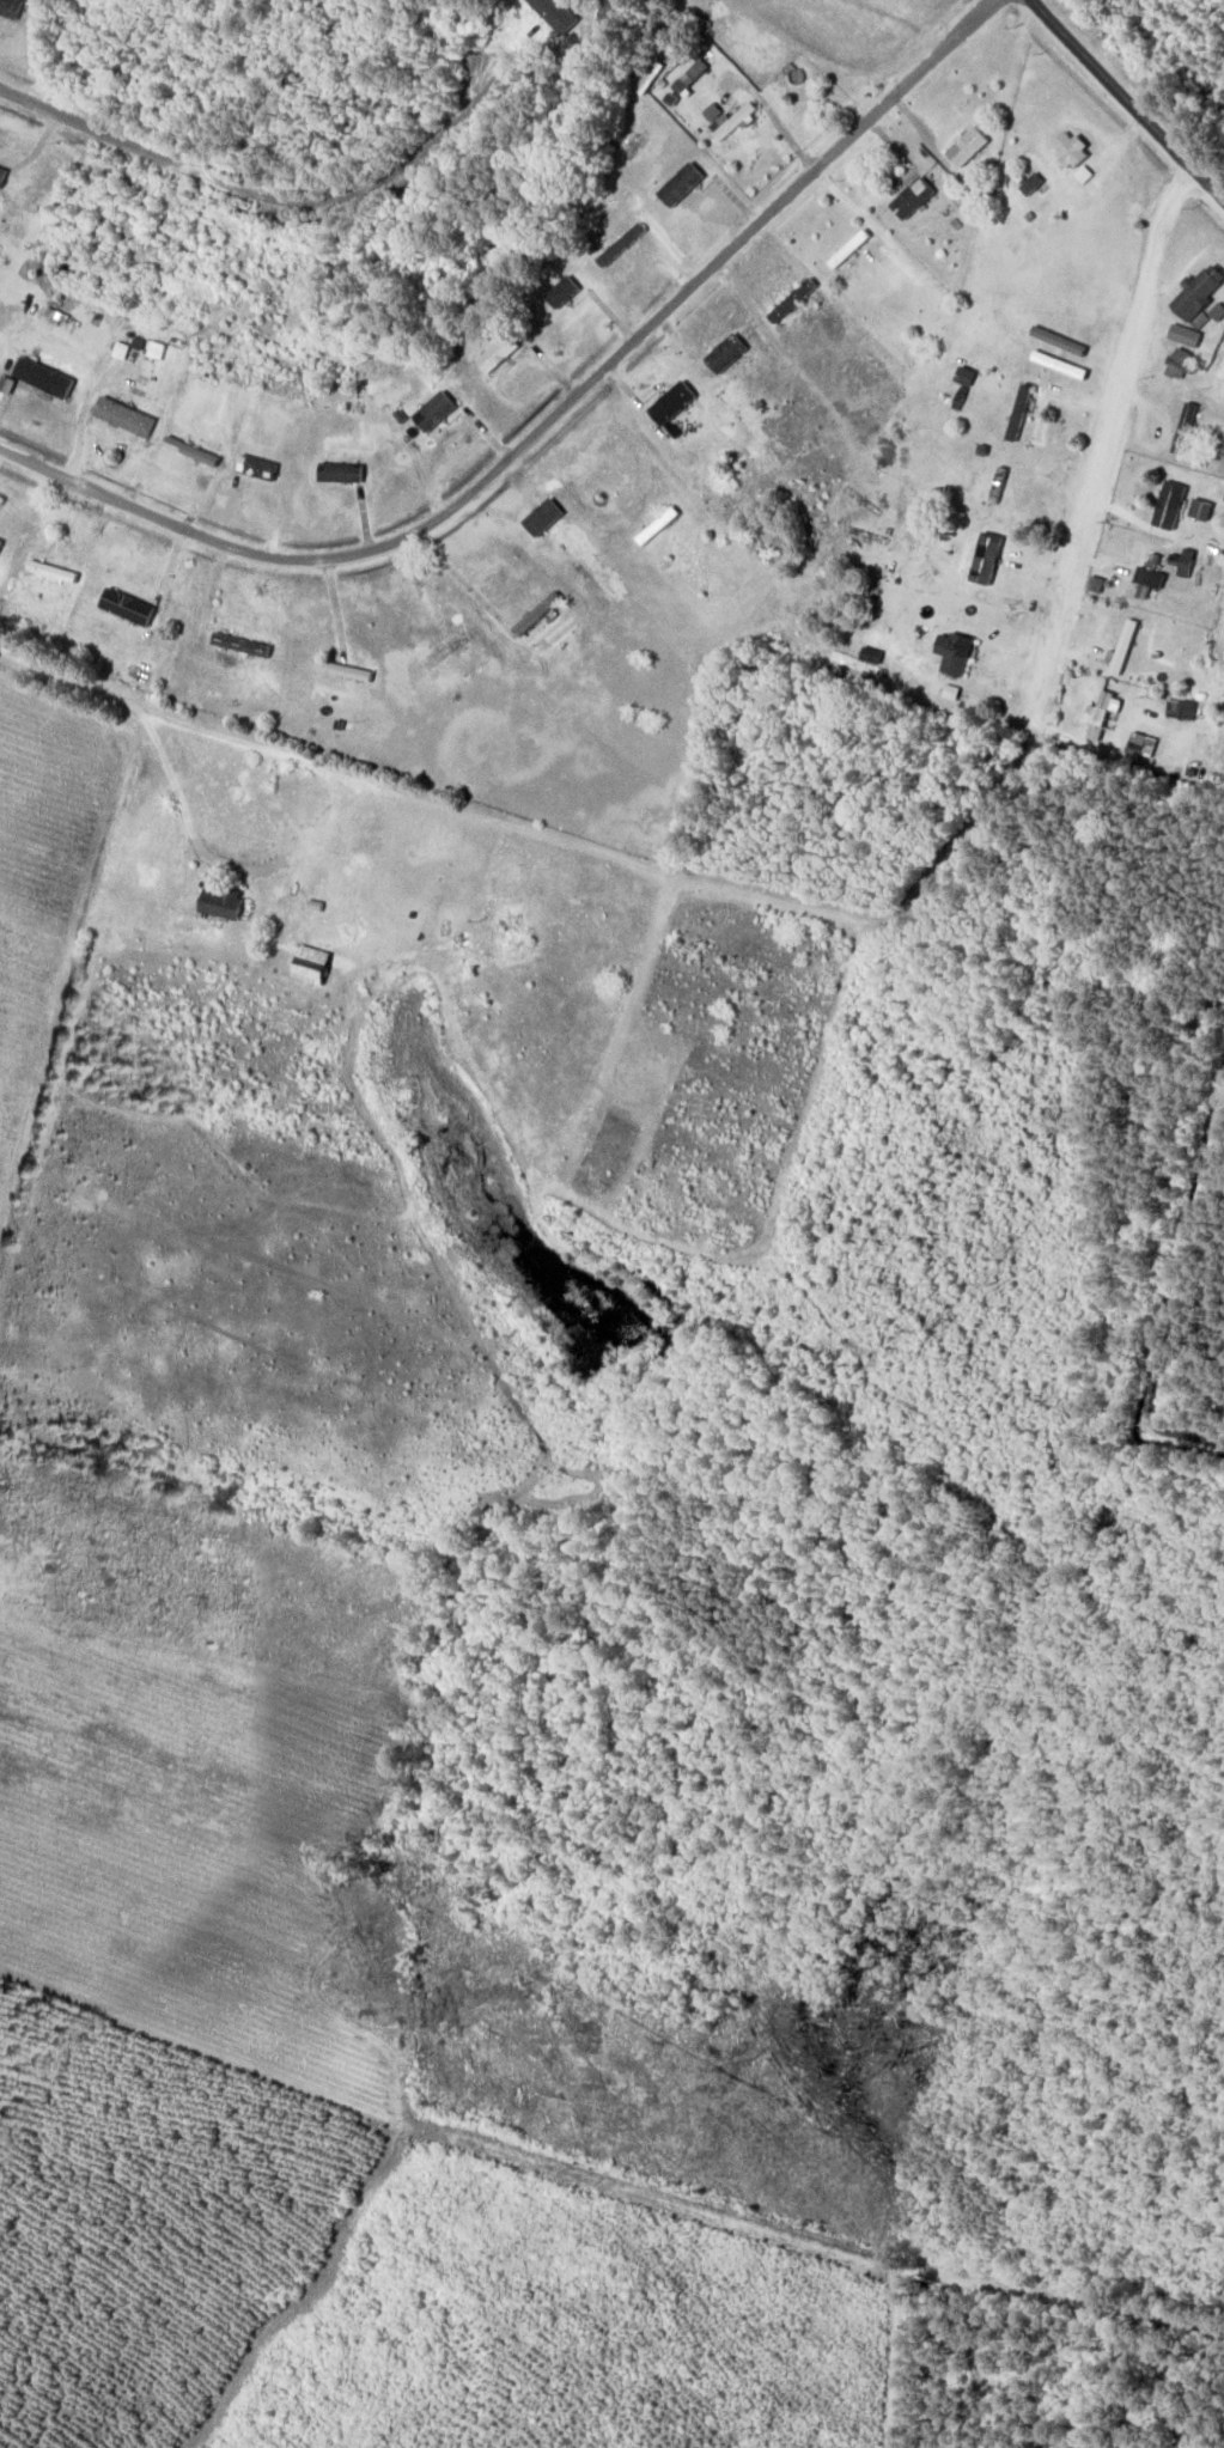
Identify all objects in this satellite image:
building: (8, 10)
road: (1126, 102)
building: (735, 126)
building: (964, 148)
building: (1066, 150)
building: (626, 152)
building: (0, 173)
building: (1029, 185)
building: (677, 187)
road: (261, 199)
building: (911, 200)
building: (620, 248)
building: (559, 293)
building: (1195, 293)
building: (791, 303)
building: (495, 355)
building: (723, 355)
building: (1175, 365)
building: (963, 379)
building: (39, 380)
building: (669, 404)
road: (1107, 406)
building: (431, 413)
building: (1018, 415)
building: (120, 419)
road: (547, 422)
building: (1185, 428)
building: (1210, 442)
building: (260, 467)
building: (337, 475)
building: (995, 488)
building: (1164, 507)
building: (656, 528)
building: (962, 567)
building: (1182, 567)
building: (1146, 576)
building: (123, 608)
building: (237, 646)
building: (1120, 651)
building: (950, 654)
building: (1177, 712)
building: (1097, 718)
building: (1135, 739)
building: (215, 906)
building: (304, 966)

